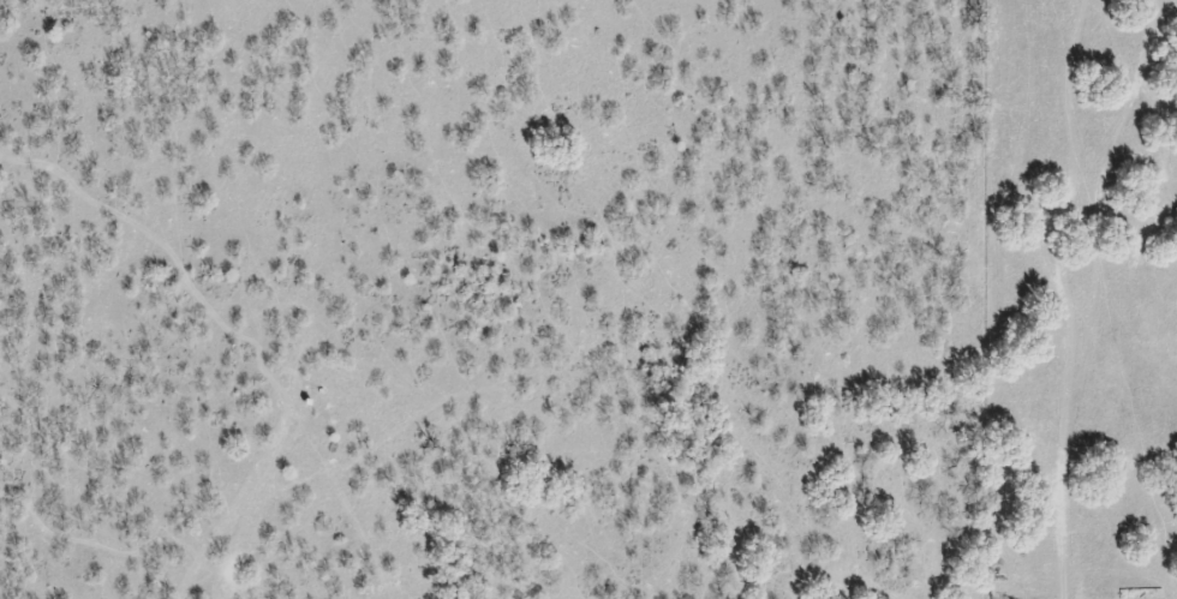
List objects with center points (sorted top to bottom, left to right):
road: (1054, 299)

